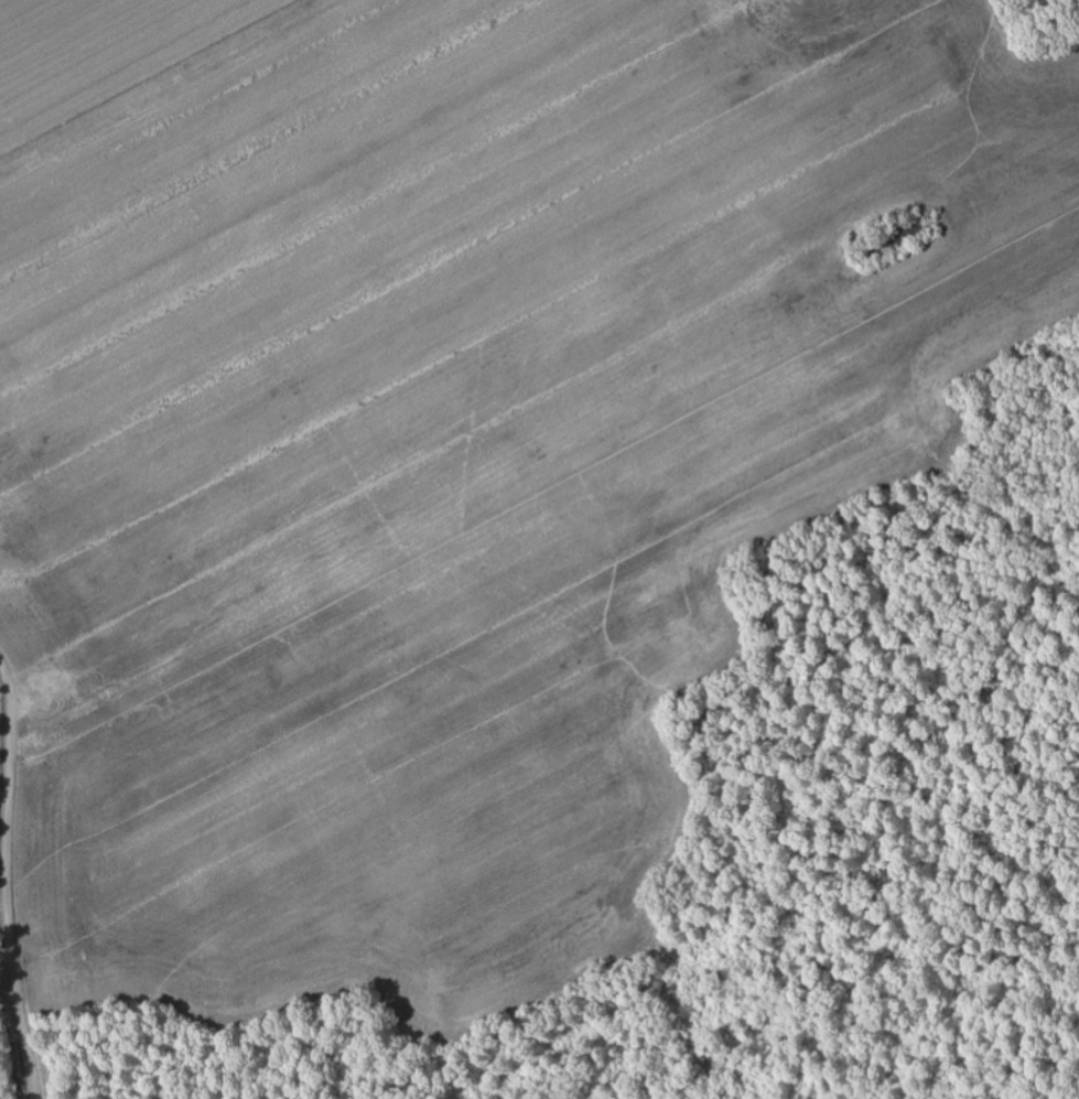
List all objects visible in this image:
road: (9, 880)

